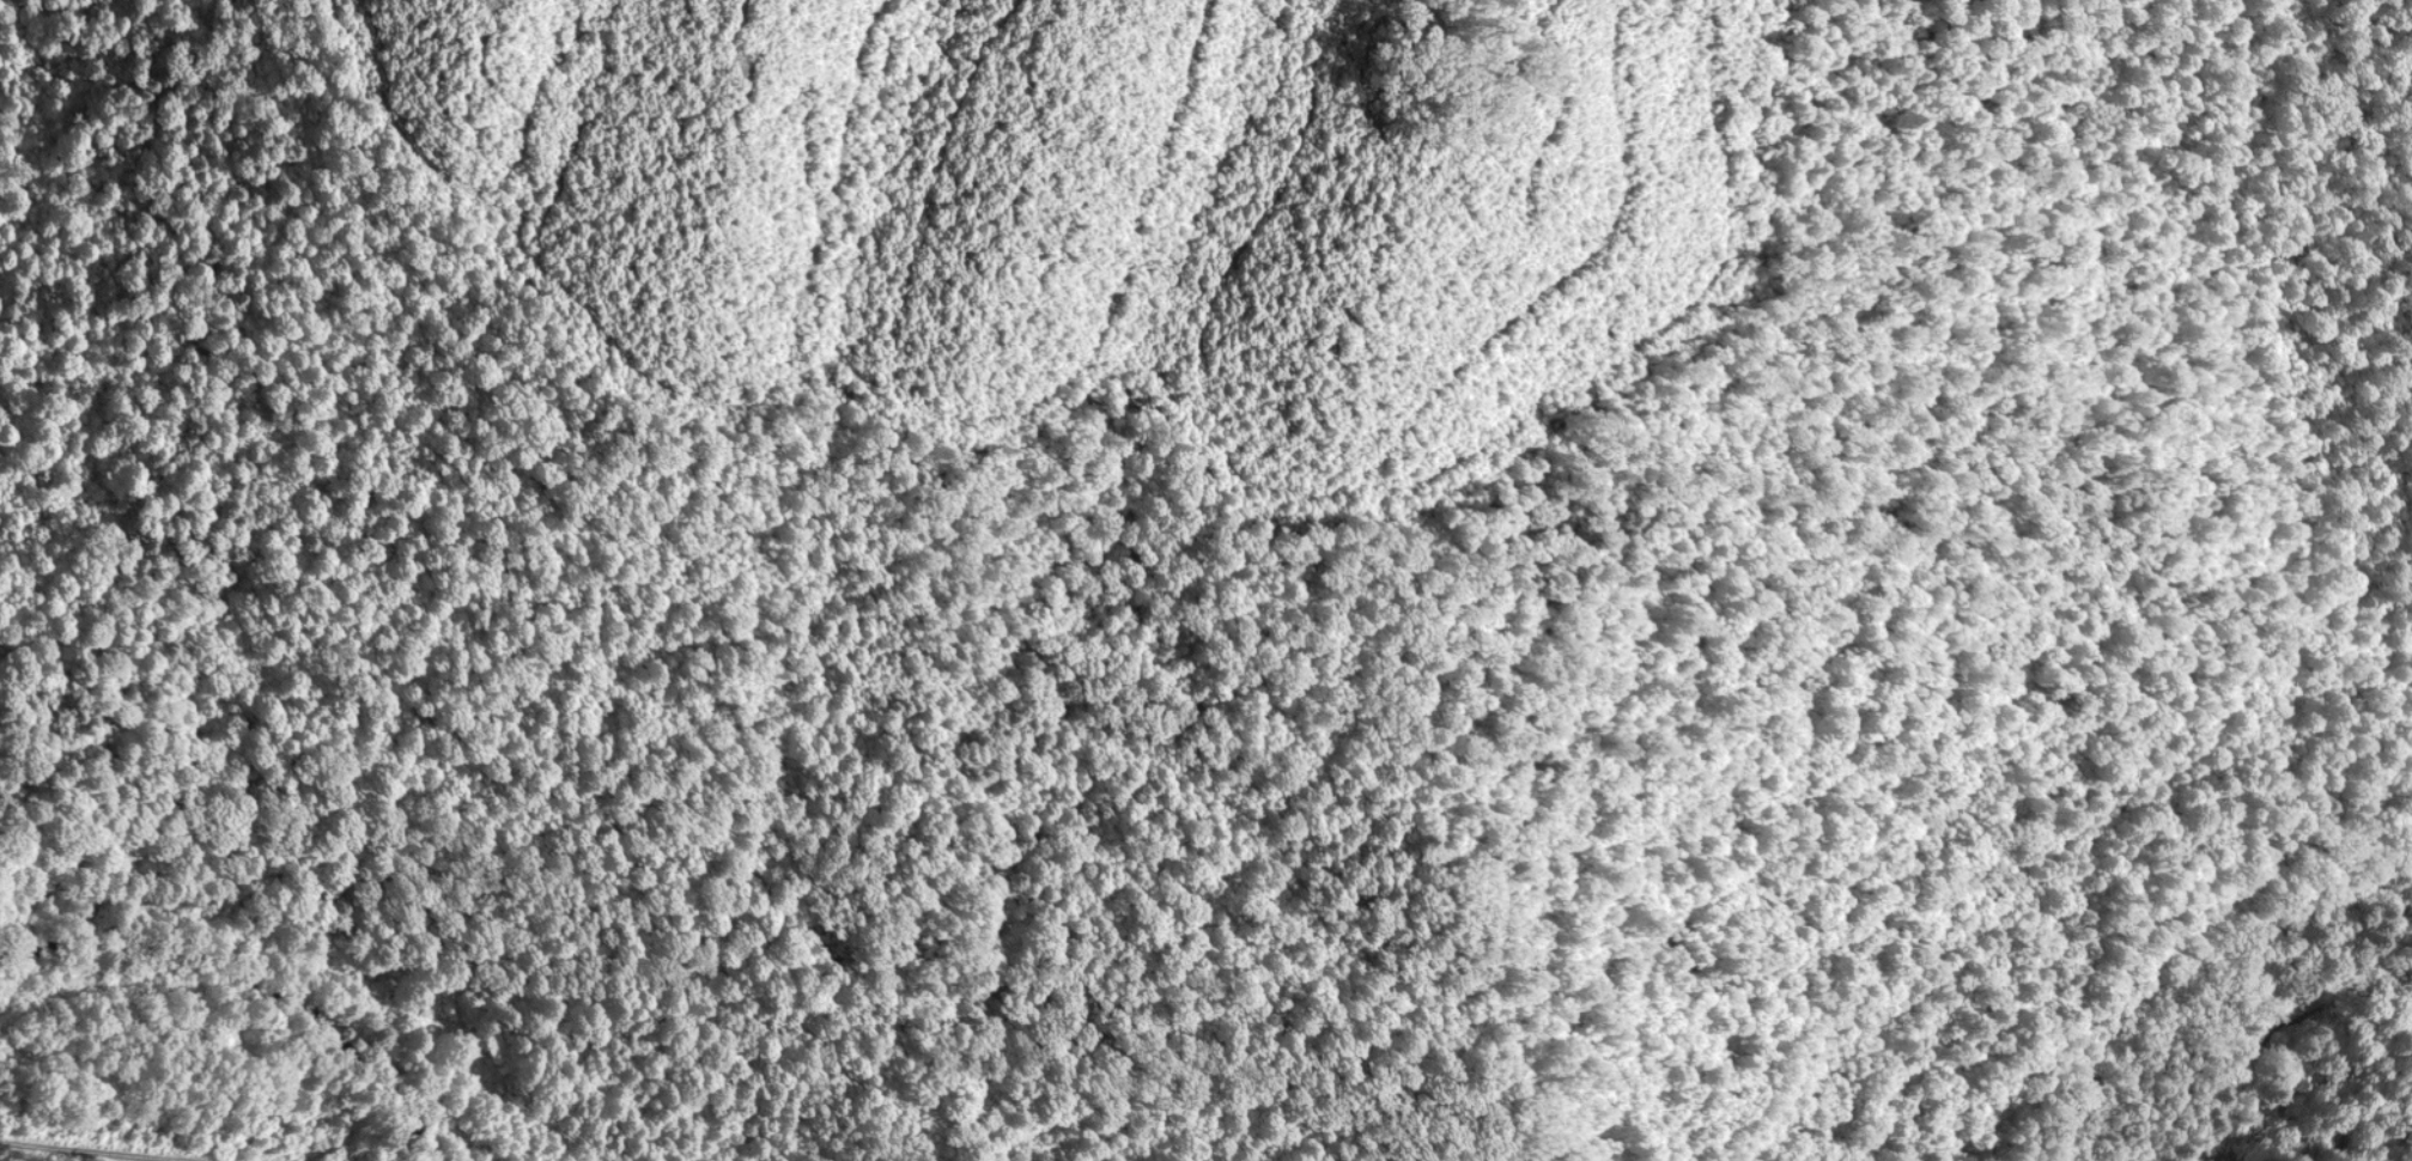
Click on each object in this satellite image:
quarry: (1205, 580)
road: (2285, 1008)
road: (78, 1147)

